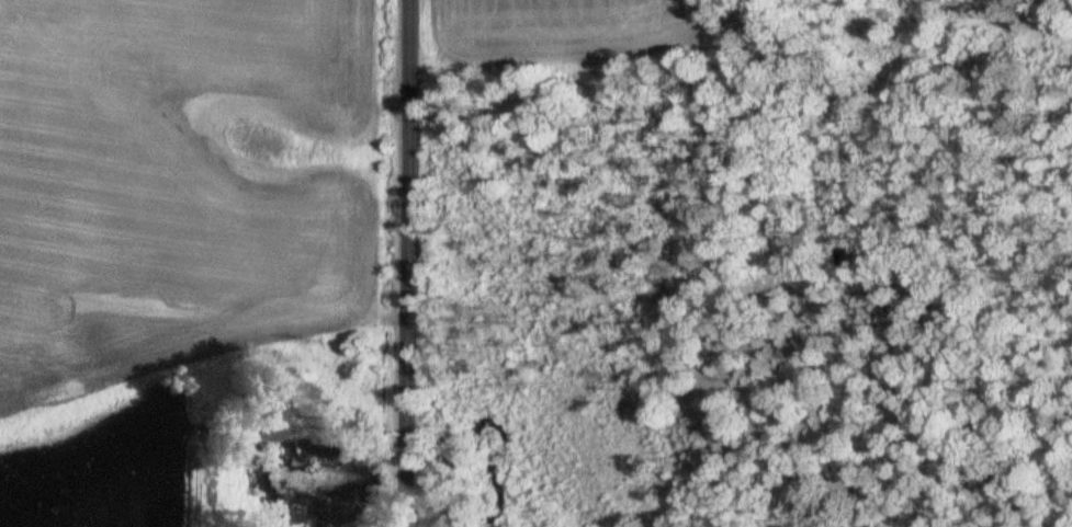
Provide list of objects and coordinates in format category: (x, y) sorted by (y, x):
road: (405, 263)

